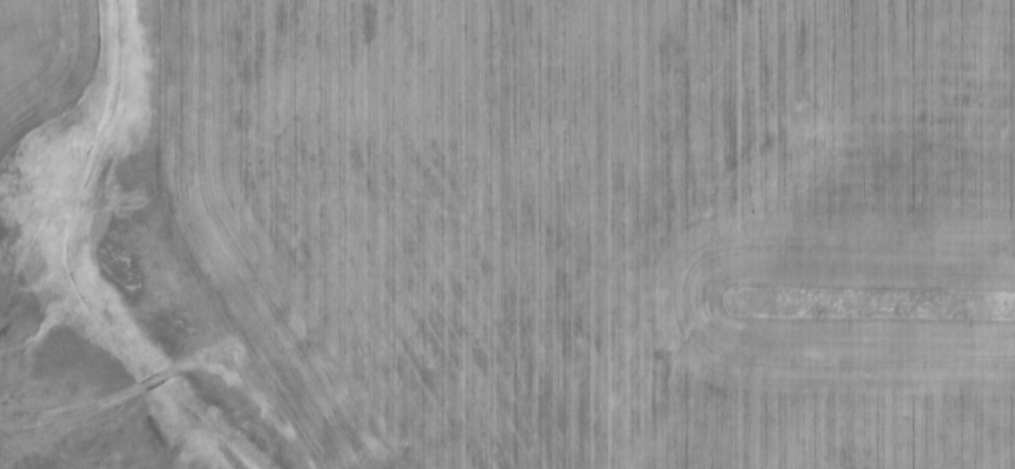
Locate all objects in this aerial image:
road: (167, 251)

